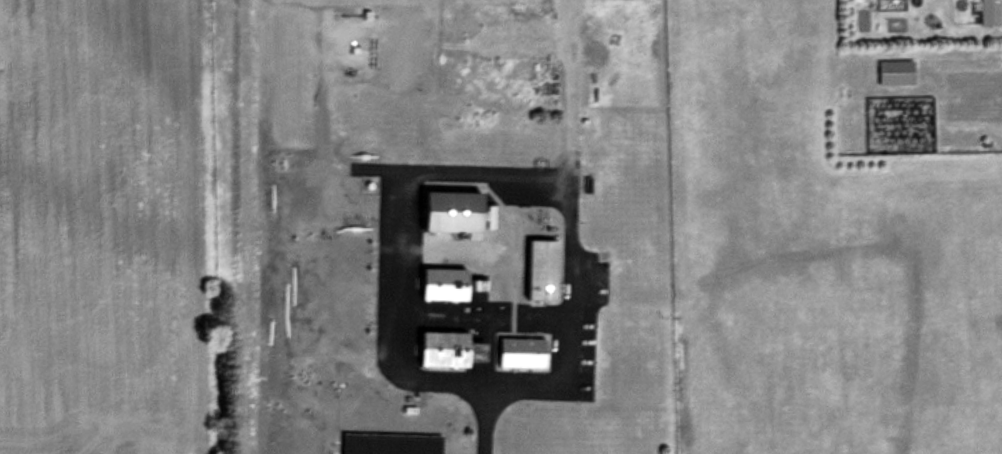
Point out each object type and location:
building: (990, 11)
road: (472, 170)
building: (462, 211)
building: (545, 270)
building: (446, 282)
building: (451, 349)
building: (522, 351)
road: (485, 419)
building: (392, 442)

